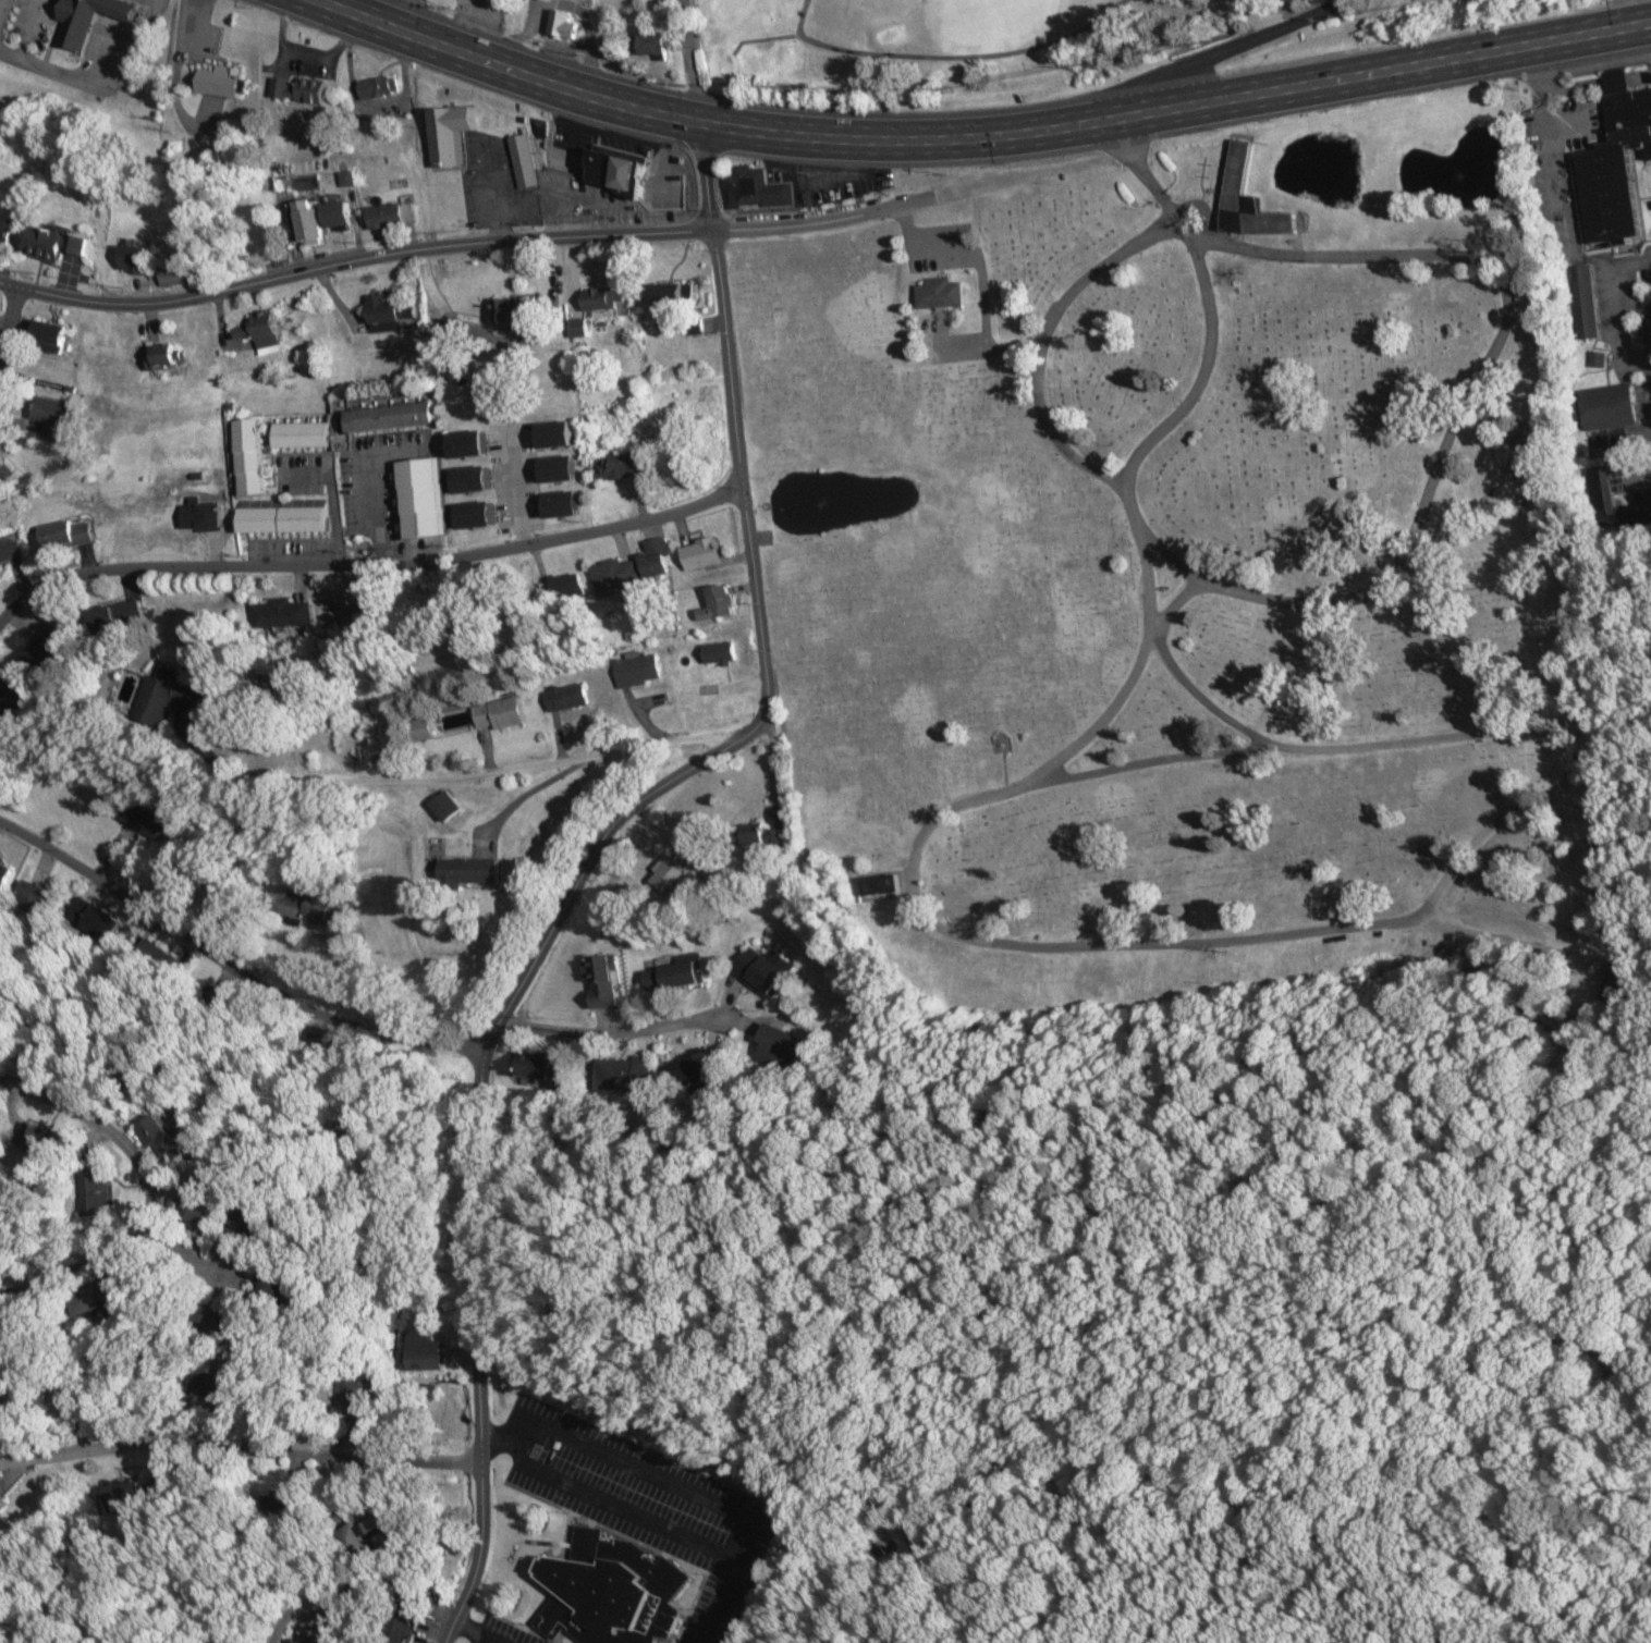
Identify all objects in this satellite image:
building: (85, 16)
building: (561, 25)
road: (765, 37)
park: (983, 39)
building: (651, 44)
road: (1218, 50)
road: (944, 54)
road: (1433, 59)
road: (695, 60)
road: (507, 66)
building: (219, 78)
building: (372, 84)
building: (294, 87)
building: (537, 125)
building: (447, 131)
road: (958, 137)
building: (519, 158)
building: (1615, 162)
building: (615, 165)
road: (701, 173)
road: (1145, 175)
building: (749, 186)
building: (1247, 198)
building: (589, 200)
parking lot: (589, 200)
road: (1200, 208)
building: (335, 214)
building: (389, 216)
road: (821, 217)
building: (302, 221)
building: (5, 225)
building: (53, 244)
parking lot: (937, 245)
road: (352, 258)
building: (133, 260)
building: (170, 275)
building: (938, 291)
building: (670, 295)
building: (595, 299)
building: (1583, 302)
building: (387, 308)
building: (519, 310)
road: (8, 320)
building: (577, 328)
building: (258, 334)
building: (47, 336)
road: (1040, 341)
road: (725, 354)
building: (160, 356)
building: (1606, 406)
building: (50, 416)
building: (378, 417)
building: (298, 436)
building: (247, 457)
building: (616, 465)
building: (1601, 490)
building: (421, 498)
building: (199, 515)
building: (280, 520)
building: (63, 535)
building: (10, 548)
building: (698, 553)
road: (1169, 555)
road: (367, 557)
building: (652, 557)
building: (0, 575)
building: (612, 575)
park: (1182, 579)
building: (565, 587)
building: (716, 604)
building: (280, 613)
road: (756, 613)
building: (99, 621)
road: (1153, 623)
building: (51, 642)
building: (718, 653)
building: (636, 671)
building: (124, 685)
building: (9, 698)
building: (158, 698)
building: (565, 698)
building: (498, 714)
building: (454, 722)
building: (419, 731)
road: (1249, 731)
road: (1149, 759)
road: (502, 769)
building: (443, 807)
building: (145, 817)
building: (750, 833)
building: (477, 870)
building: (4, 874)
building: (666, 874)
building: (879, 883)
building: (36, 895)
building: (304, 905)
road: (1507, 941)
building: (761, 969)
building: (676, 972)
building: (599, 981)
building: (1614, 981)
road: (613, 1030)
road: (419, 1040)
building: (780, 1047)
building: (541, 1066)
building: (699, 1071)
building: (623, 1072)
building: (27, 1137)
building: (155, 1139)
road: (146, 1190)
building: (84, 1191)
building: (189, 1204)
building: (234, 1221)
road: (180, 1251)
building: (93, 1297)
road: (475, 1347)
building: (425, 1351)
building: (211, 1385)
building: (64, 1400)
road: (234, 1442)
road: (475, 1459)
road: (633, 1466)
parking lot: (644, 1503)
road: (658, 1523)
building: (367, 1534)
building: (608, 1591)
road: (301, 1605)
building: (398, 1615)
road: (475, 1632)
parking lot: (501, 1632)
building: (210, 1640)
building: (289, 1641)

